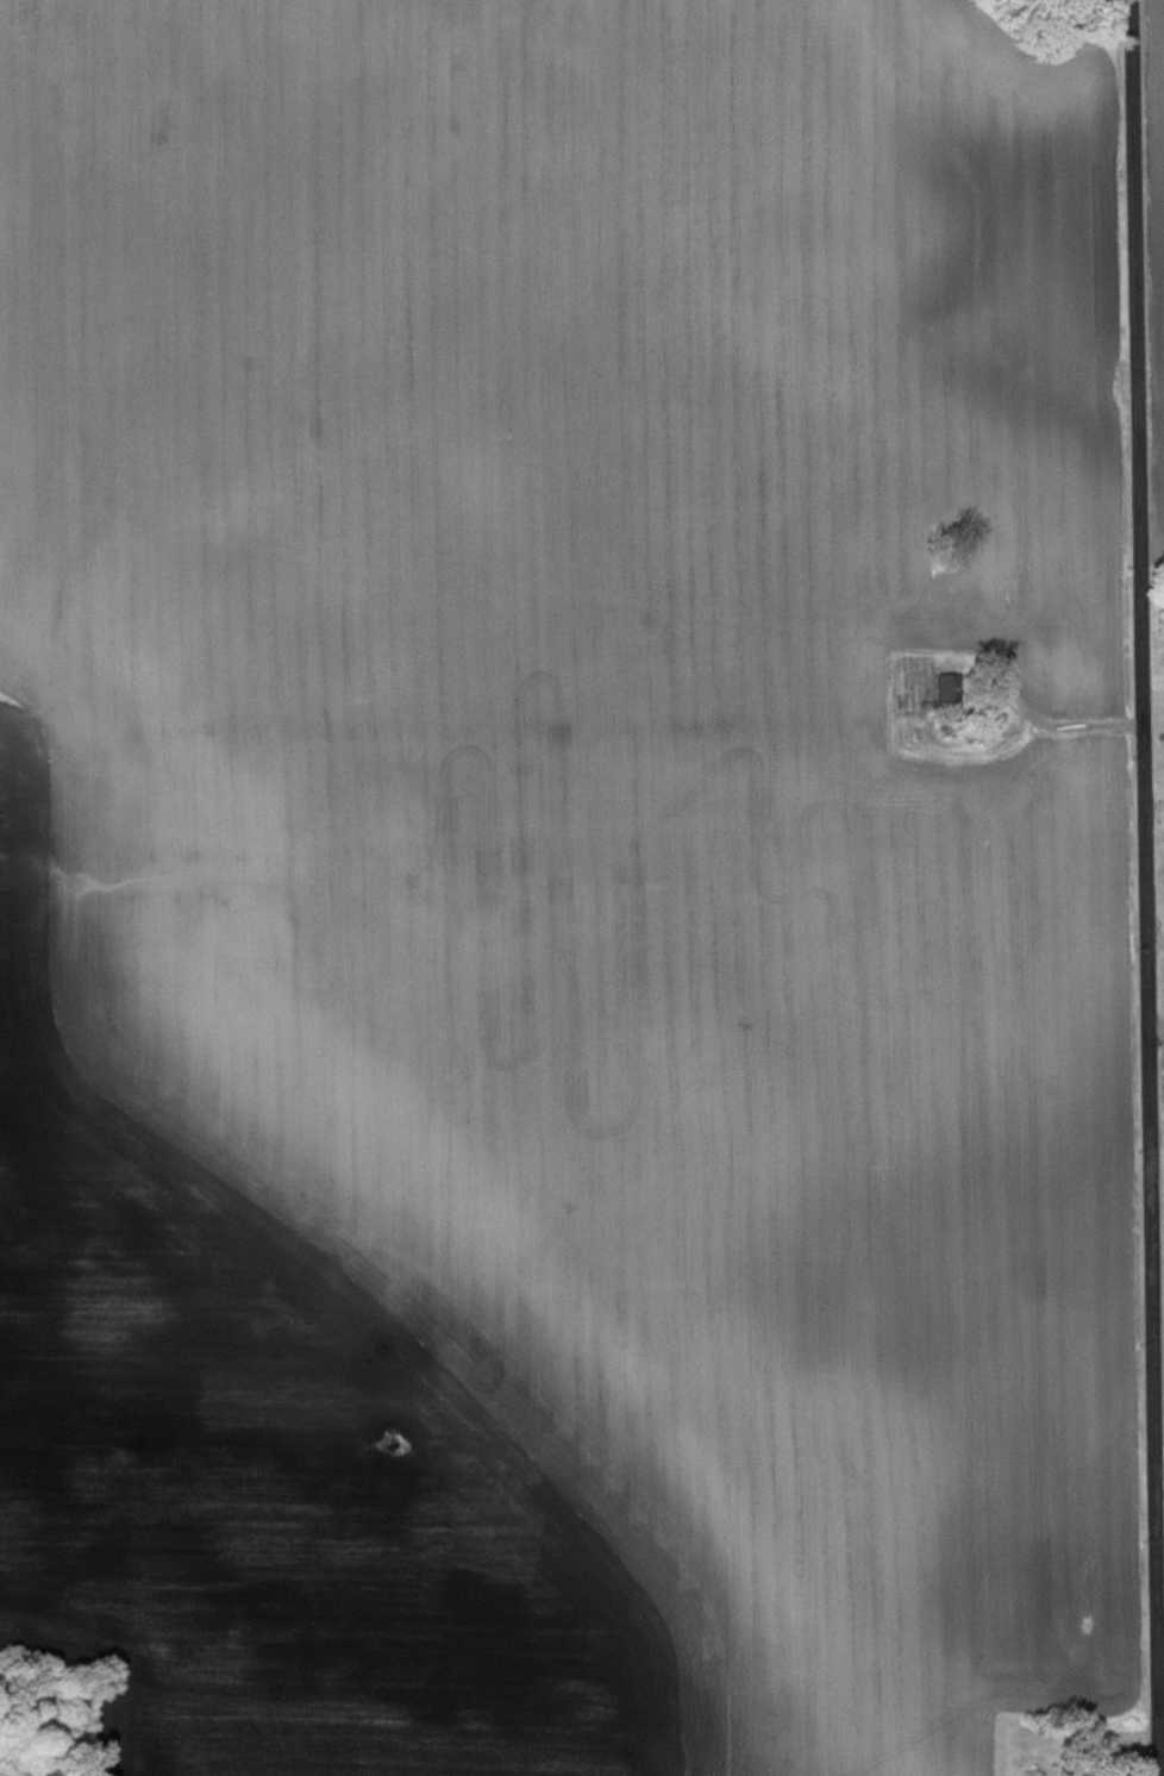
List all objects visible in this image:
road: (1149, 887)

